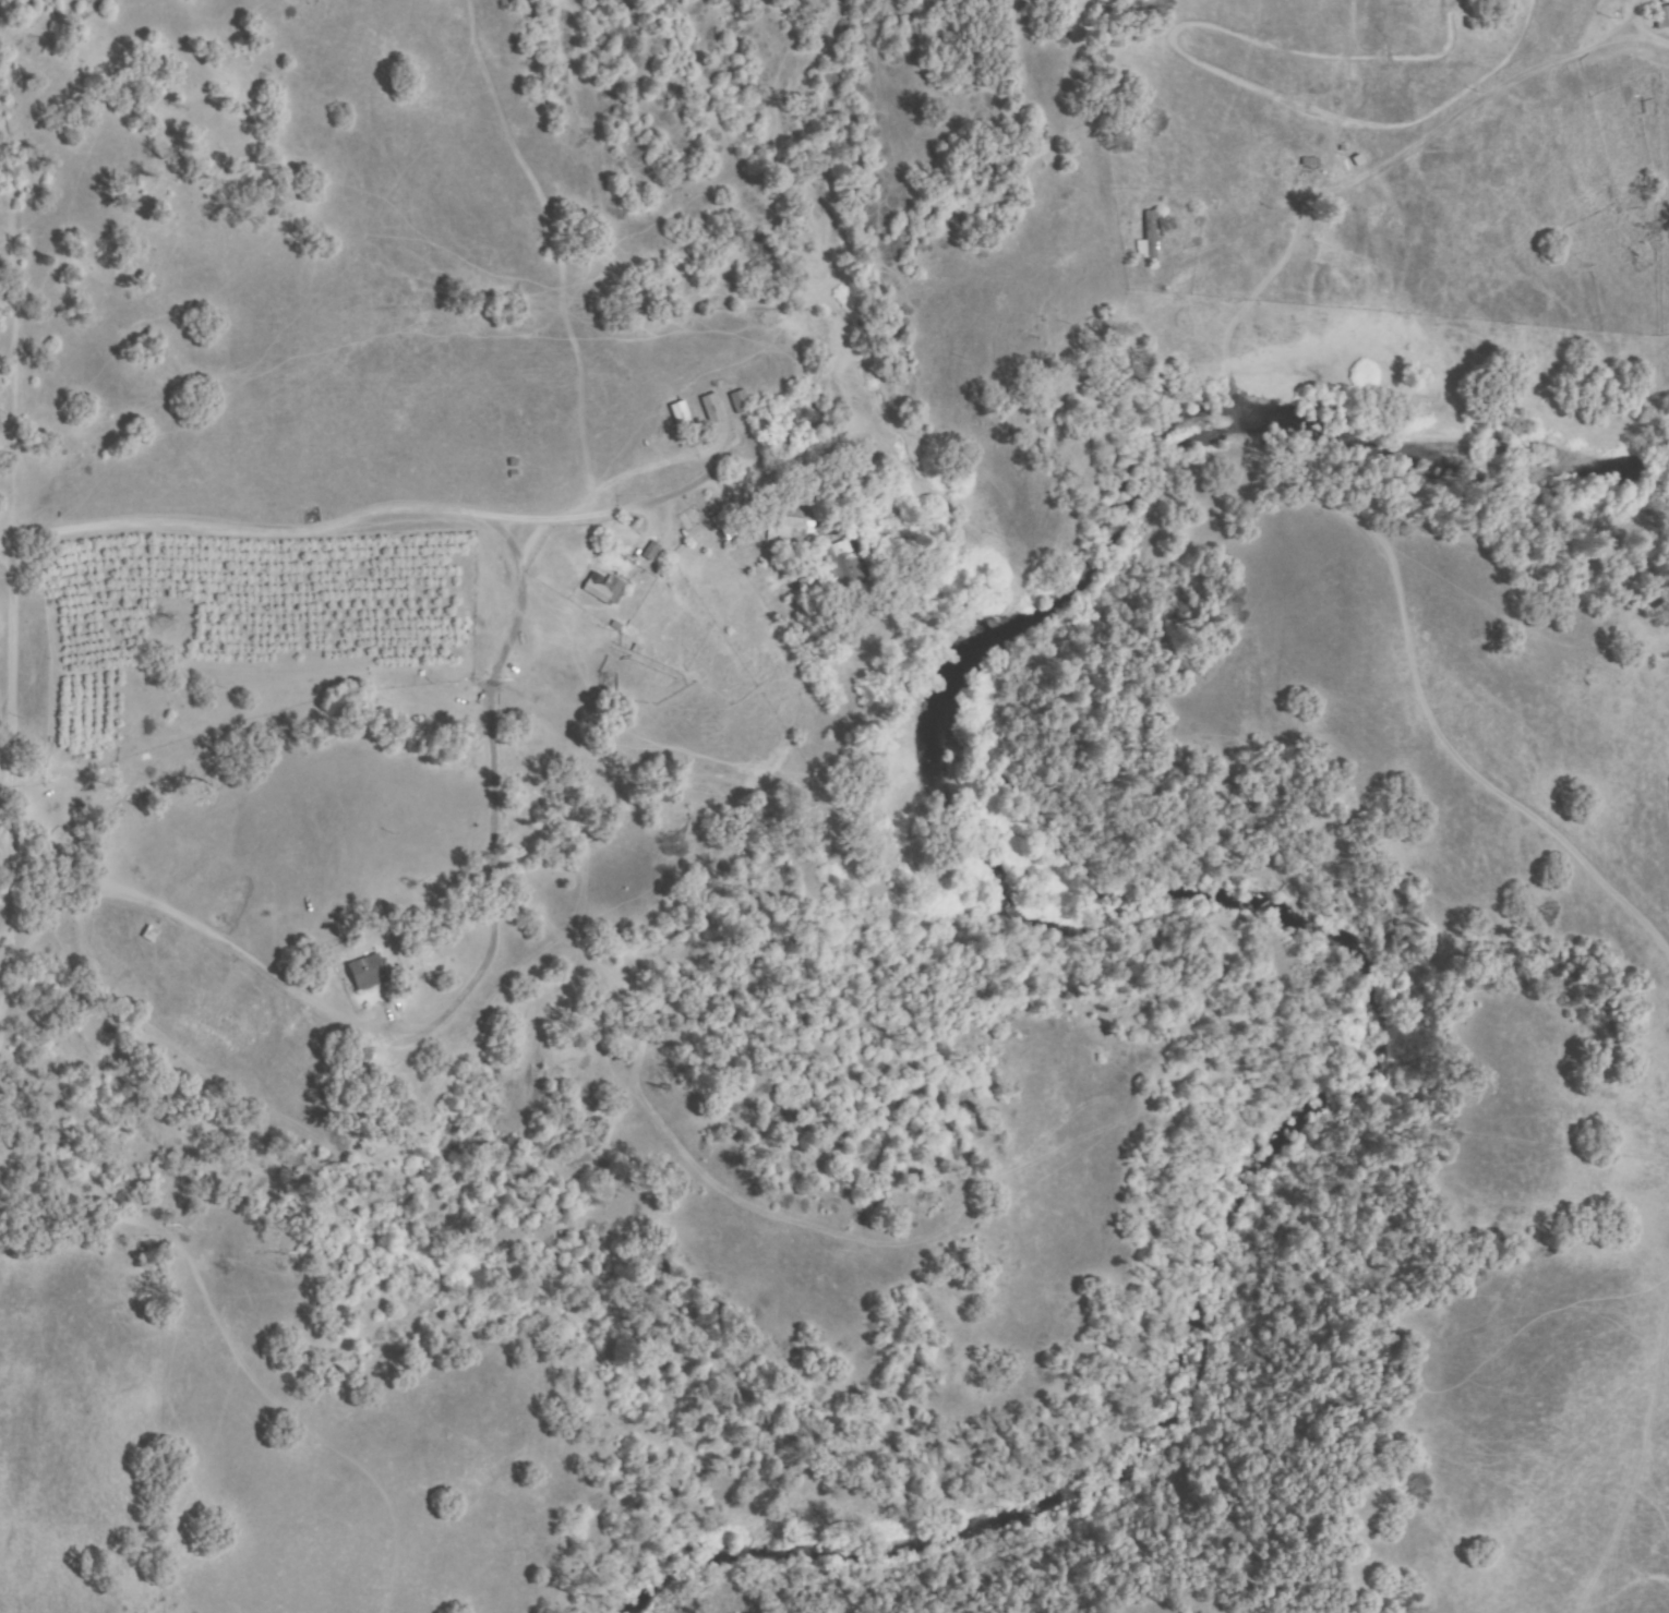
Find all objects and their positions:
building: (1661, 17)
building: (1311, 162)
building: (1152, 234)
building: (740, 402)
building: (711, 409)
building: (682, 418)
road: (355, 507)
building: (723, 525)
building: (792, 532)
building: (650, 551)
building: (845, 568)
building: (603, 590)
building: (607, 687)
building: (158, 936)
building: (367, 972)

